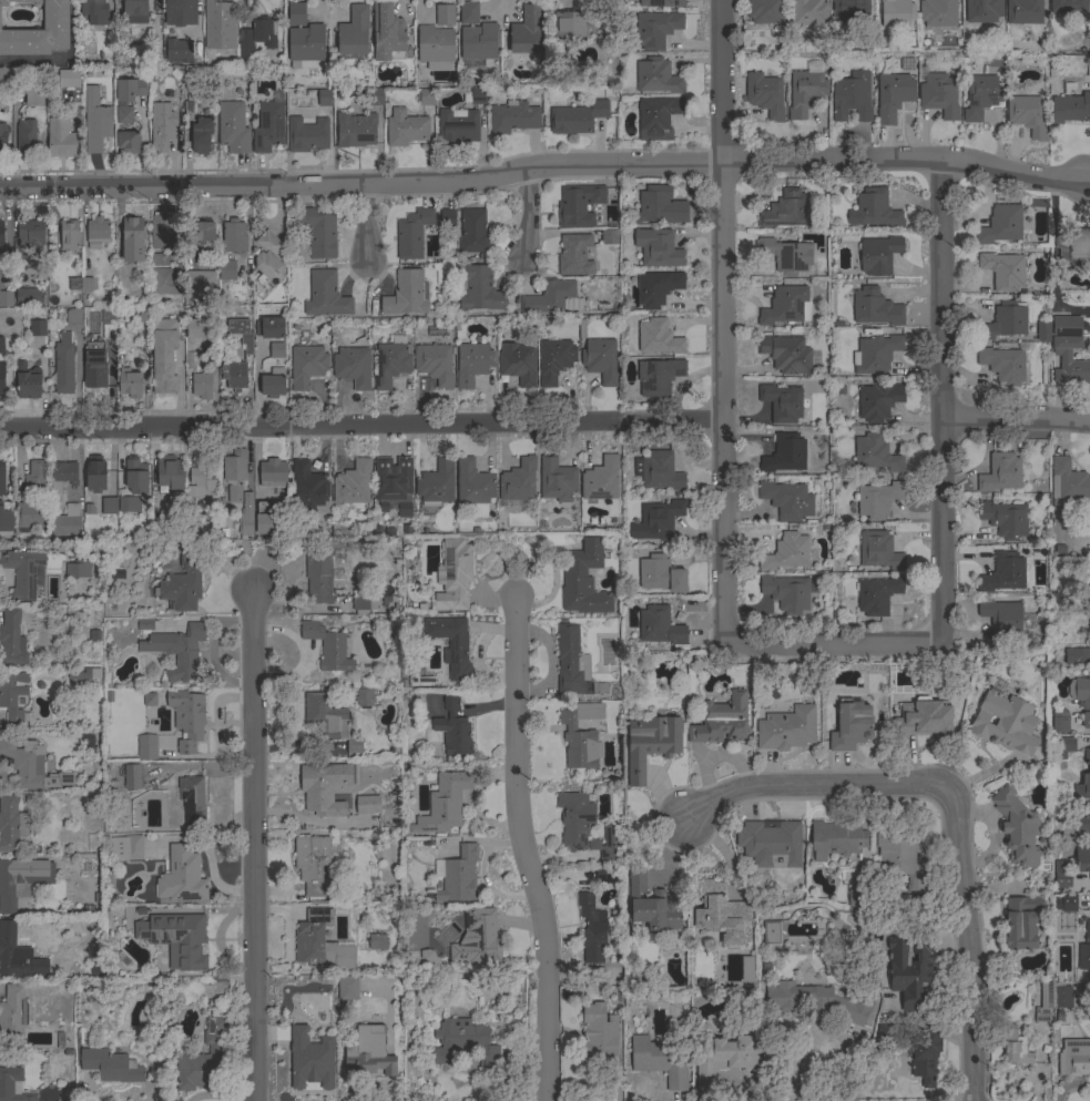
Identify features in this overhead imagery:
building: (660, 3)
building: (91, 6)
building: (1067, 6)
building: (134, 10)
building: (764, 11)
building: (850, 11)
building: (982, 11)
building: (1023, 11)
building: (180, 12)
building: (807, 12)
building: (896, 13)
building: (937, 13)
building: (444, 14)
building: (211, 17)
building: (570, 24)
building: (655, 29)
building: (38, 31)
building: (353, 31)
building: (526, 31)
building: (608, 31)
building: (388, 34)
building: (476, 34)
building: (256, 37)
building: (303, 38)
building: (435, 47)
building: (222, 49)
building: (180, 50)
building: (1088, 69)
building: (4, 77)
building: (656, 77)
building: (68, 79)
building: (129, 89)
building: (806, 90)
building: (938, 93)
building: (33, 94)
building: (764, 94)
building: (893, 94)
building: (477, 96)
building: (980, 96)
building: (325, 98)
building: (375, 98)
building: (426, 98)
building: (852, 98)
building: (1070, 108)
building: (123, 114)
building: (1027, 115)
building: (512, 118)
building: (577, 118)
building: (656, 118)
building: (95, 121)
building: (161, 126)
building: (268, 126)
building: (457, 126)
building: (233, 128)
building: (406, 128)
building: (355, 130)
building: (306, 135)
building: (3, 136)
building: (26, 136)
building: (201, 136)
building: (60, 137)
building: (128, 142)
road: (544, 165)
building: (1037, 203)
building: (578, 205)
building: (658, 206)
building: (874, 210)
building: (785, 211)
road: (528, 214)
building: (447, 218)
road: (366, 224)
building: (1002, 225)
building: (203, 231)
building: (96, 232)
building: (162, 232)
building: (318, 232)
building: (472, 232)
building: (411, 233)
building: (69, 234)
building: (1, 236)
building: (30, 236)
building: (233, 236)
building: (609, 236)
building: (132, 238)
building: (1073, 246)
building: (656, 247)
building: (574, 255)
building: (878, 255)
building: (786, 256)
building: (159, 259)
building: (268, 261)
building: (226, 269)
building: (1002, 271)
building: (0, 272)
building: (1, 282)
building: (164, 282)
building: (200, 283)
building: (80, 284)
building: (655, 287)
building: (480, 289)
building: (406, 294)
building: (325, 295)
building: (30, 296)
building: (552, 298)
building: (6, 299)
building: (784, 305)
building: (875, 307)
building: (73, 316)
building: (6, 317)
building: (1006, 320)
road: (722, 323)
building: (1066, 326)
building: (268, 327)
building: (37, 328)
building: (200, 329)
building: (109, 332)
building: (1042, 332)
building: (241, 334)
building: (658, 337)
building: (1, 346)
building: (276, 350)
building: (786, 354)
building: (875, 354)
building: (163, 355)
building: (553, 360)
building: (600, 360)
building: (1069, 361)
building: (518, 363)
building: (390, 364)
building: (434, 364)
building: (471, 364)
building: (63, 365)
building: (94, 365)
building: (1002, 365)
building: (306, 366)
building: (353, 367)
building: (234, 375)
building: (658, 376)
building: (1, 378)
building: (27, 381)
building: (273, 383)
building: (129, 384)
building: (201, 386)
building: (877, 400)
building: (781, 402)
road: (940, 402)
road: (1016, 420)
road: (360, 425)
building: (784, 453)
building: (875, 453)
building: (656, 470)
building: (1000, 472)
building: (94, 473)
building: (169, 473)
building: (234, 473)
building: (272, 473)
building: (62, 475)
building: (135, 477)
building: (557, 479)
building: (600, 479)
building: (1, 480)
building: (518, 480)
building: (35, 481)
building: (200, 482)
building: (436, 482)
building: (472, 482)
building: (393, 483)
building: (1067, 483)
building: (353, 485)
building: (308, 488)
building: (877, 499)
building: (786, 500)
building: (129, 504)
building: (109, 507)
building: (29, 516)
building: (6, 517)
building: (245, 517)
building: (1004, 519)
building: (265, 520)
building: (656, 520)
building: (186, 521)
building: (67, 522)
building: (878, 550)
building: (785, 552)
building: (78, 569)
building: (22, 572)
building: (1004, 572)
building: (660, 574)
building: (452, 575)
building: (318, 577)
building: (583, 580)
building: (183, 583)
building: (786, 593)
building: (876, 595)
building: (1087, 595)
building: (364, 604)
building: (1001, 616)
building: (144, 623)
building: (1088, 623)
building: (658, 626)
building: (11, 639)
building: (451, 645)
road: (833, 645)
building: (327, 646)
building: (176, 651)
building: (1076, 656)
building: (573, 664)
building: (82, 674)
building: (420, 675)
building: (13, 697)
building: (1081, 697)
building: (364, 699)
building: (149, 700)
building: (186, 718)
building: (925, 718)
building: (1059, 720)
building: (721, 721)
building: (330, 722)
building: (1005, 723)
building: (849, 725)
building: (452, 728)
building: (786, 728)
building: (580, 735)
building: (650, 744)
building: (146, 747)
building: (1063, 747)
building: (31, 766)
building: (131, 776)
building: (1083, 779)
building: (323, 787)
building: (191, 802)
building: (444, 803)
building: (366, 804)
road: (956, 807)
building: (574, 819)
building: (10, 824)
building: (1017, 828)
building: (836, 839)
building: (770, 843)
road: (253, 845)
building: (607, 845)
building: (126, 848)
road: (526, 849)
building: (899, 855)
building: (1082, 859)
building: (313, 865)
building: (182, 875)
building: (605, 875)
building: (1061, 875)
building: (458, 876)
building: (12, 885)
building: (859, 898)
building: (1068, 904)
building: (651, 905)
building: (721, 914)
building: (128, 918)
building: (1020, 922)
building: (591, 929)
building: (771, 932)
building: (175, 938)
building: (478, 938)
building: (378, 942)
building: (320, 944)
building: (1084, 951)
building: (18, 956)
building: (428, 958)
building: (746, 969)
building: (909, 969)
building: (347, 988)
building: (1051, 998)
building: (818, 1002)
building: (12, 1017)
building: (883, 1030)
building: (599, 1039)
building: (462, 1043)
building: (1015, 1048)
building: (369, 1052)
building: (925, 1057)
building: (204, 1058)
building: (1076, 1058)
building: (721, 1059)
building: (660, 1060)
building: (309, 1063)
building: (110, 1066)
building: (12, 1085)

